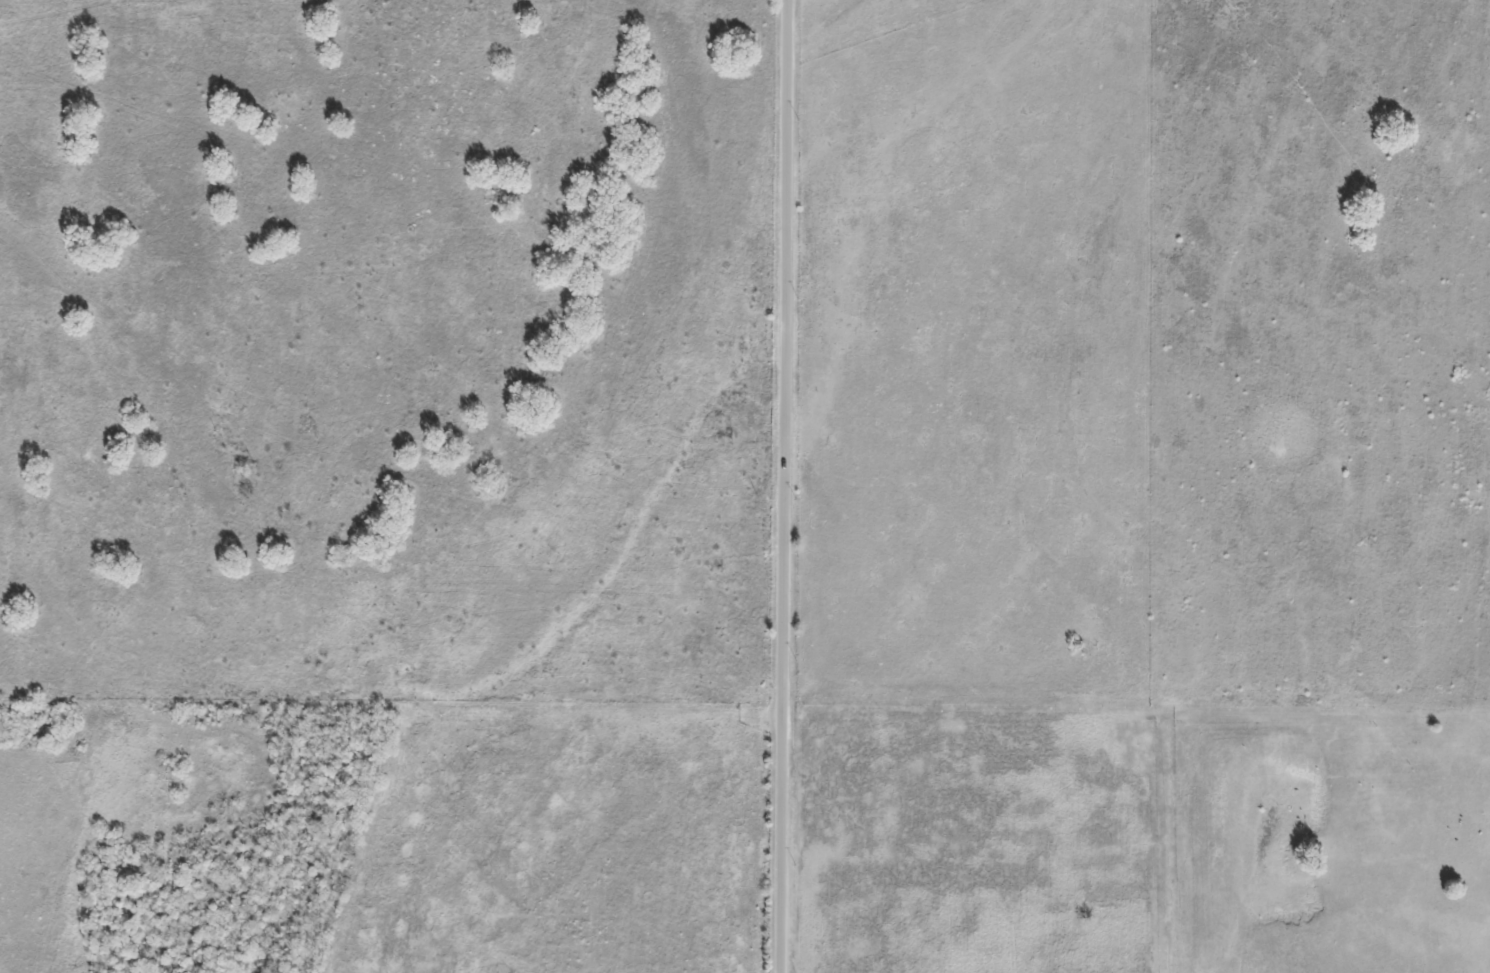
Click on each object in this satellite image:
road: (790, 486)

